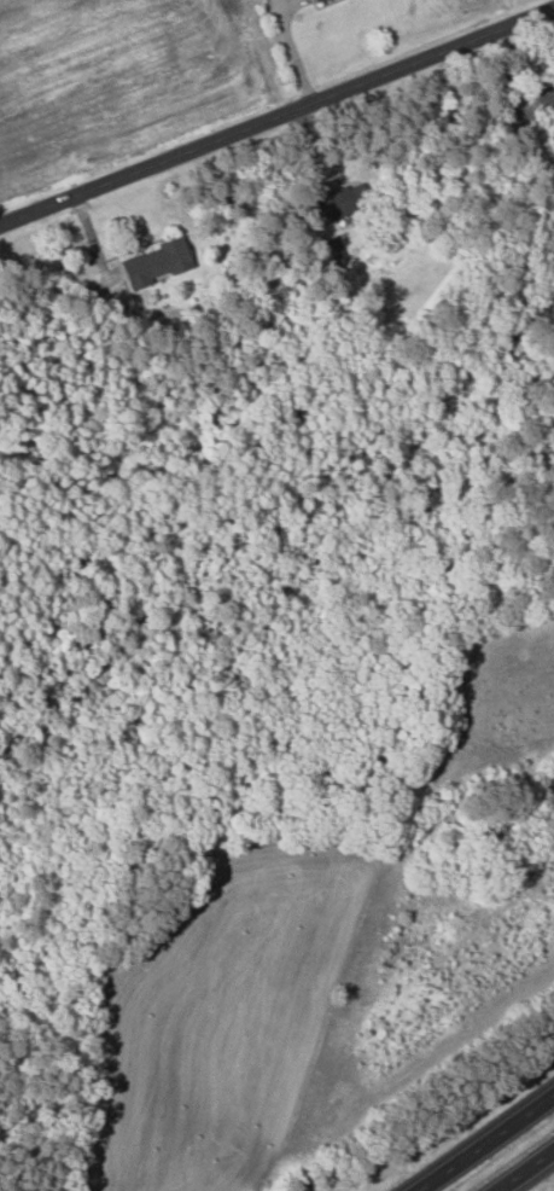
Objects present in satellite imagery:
road: (290, 51)
road: (276, 114)
building: (330, 204)
building: (151, 263)
road: (486, 1143)
road: (523, 1168)

